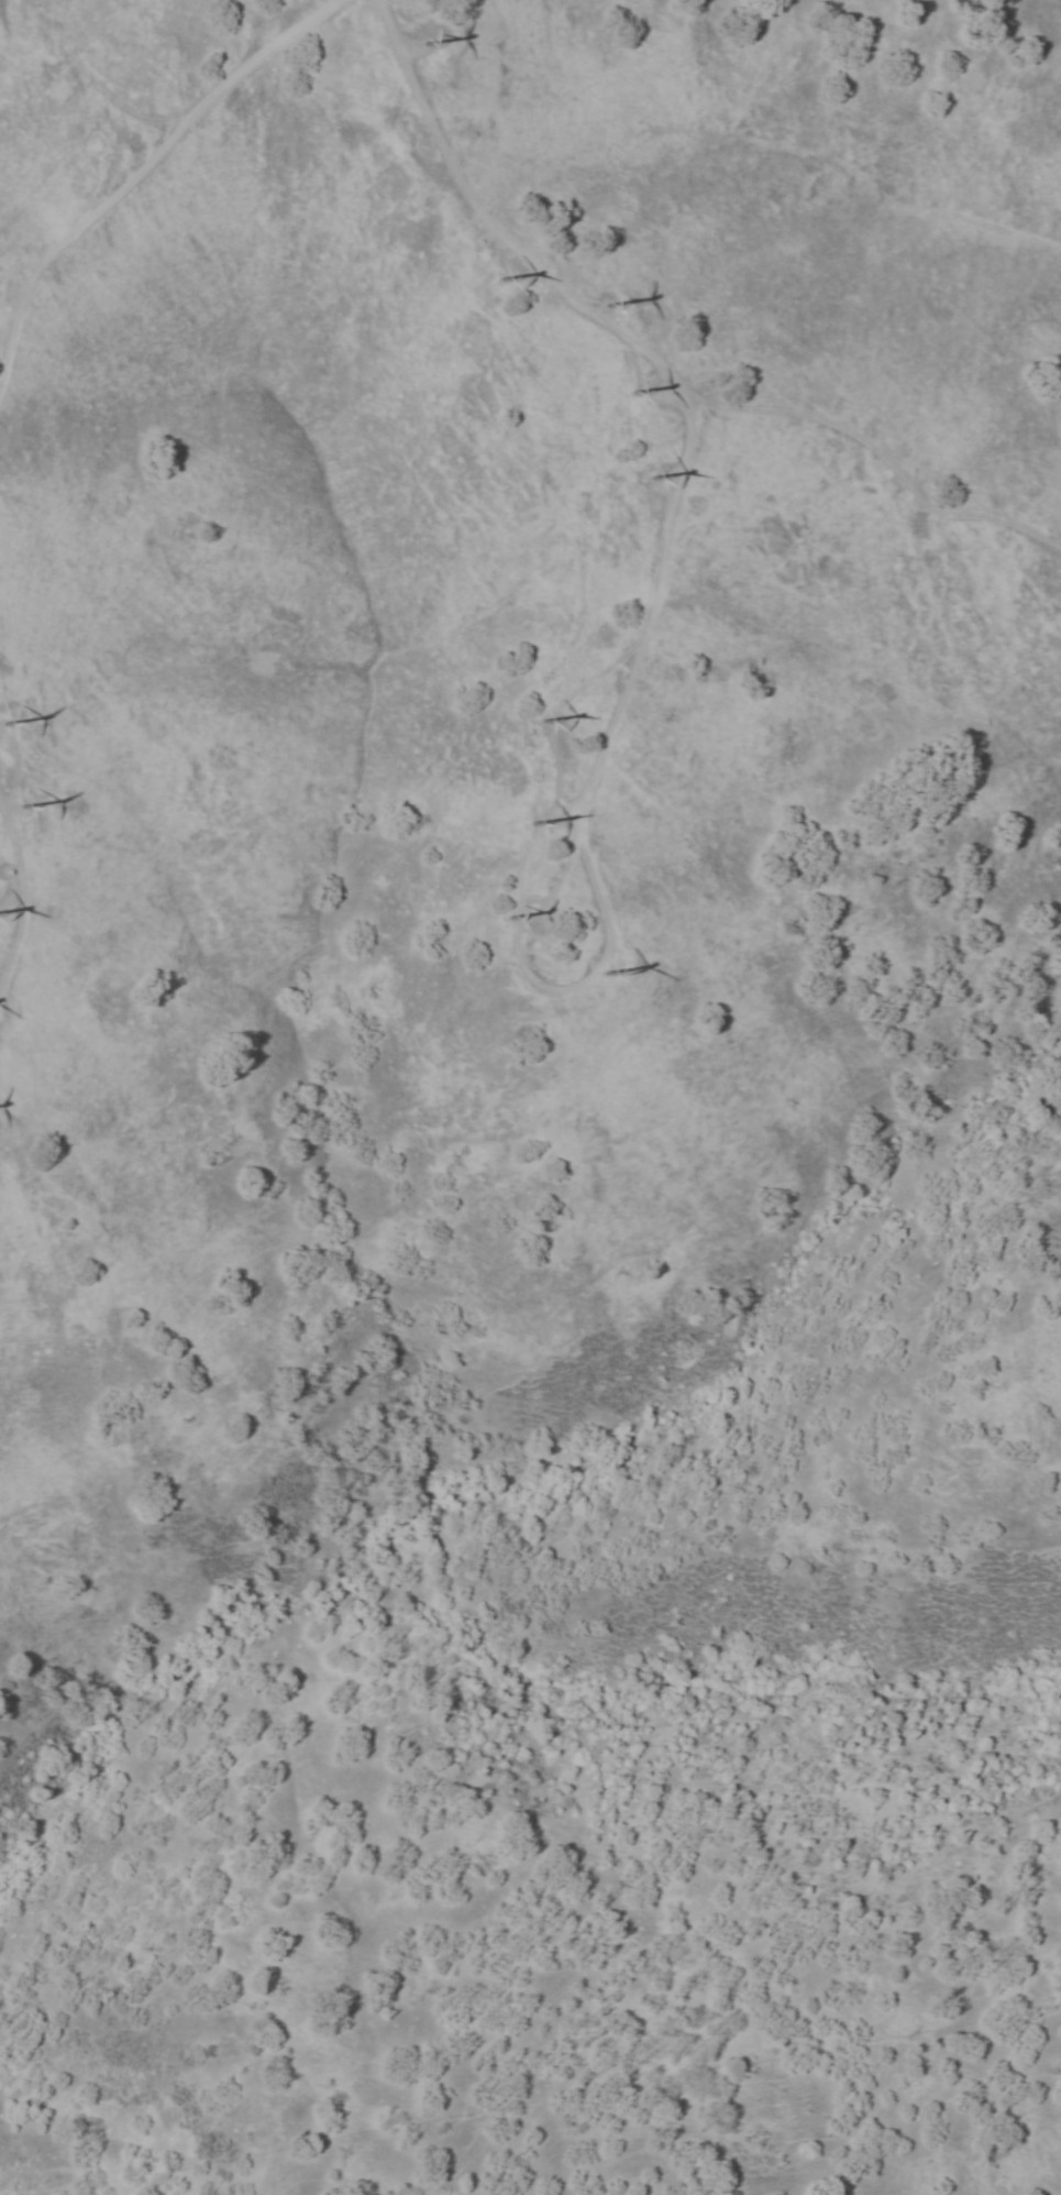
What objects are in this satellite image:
wind turbine: (422, 46)
road: (143, 171)
road: (486, 227)
wind turbine: (493, 282)
wind turbine: (604, 303)
road: (1, 366)
wind turbine: (627, 396)
road: (880, 454)
wind turbine: (646, 486)
wind turbine: (537, 723)
road: (556, 771)
wind turbine: (24, 802)
road: (578, 809)
wind turbine: (519, 825)
road: (12, 895)
road: (20, 899)
wind turbine: (499, 915)
wind turbine: (611, 979)

